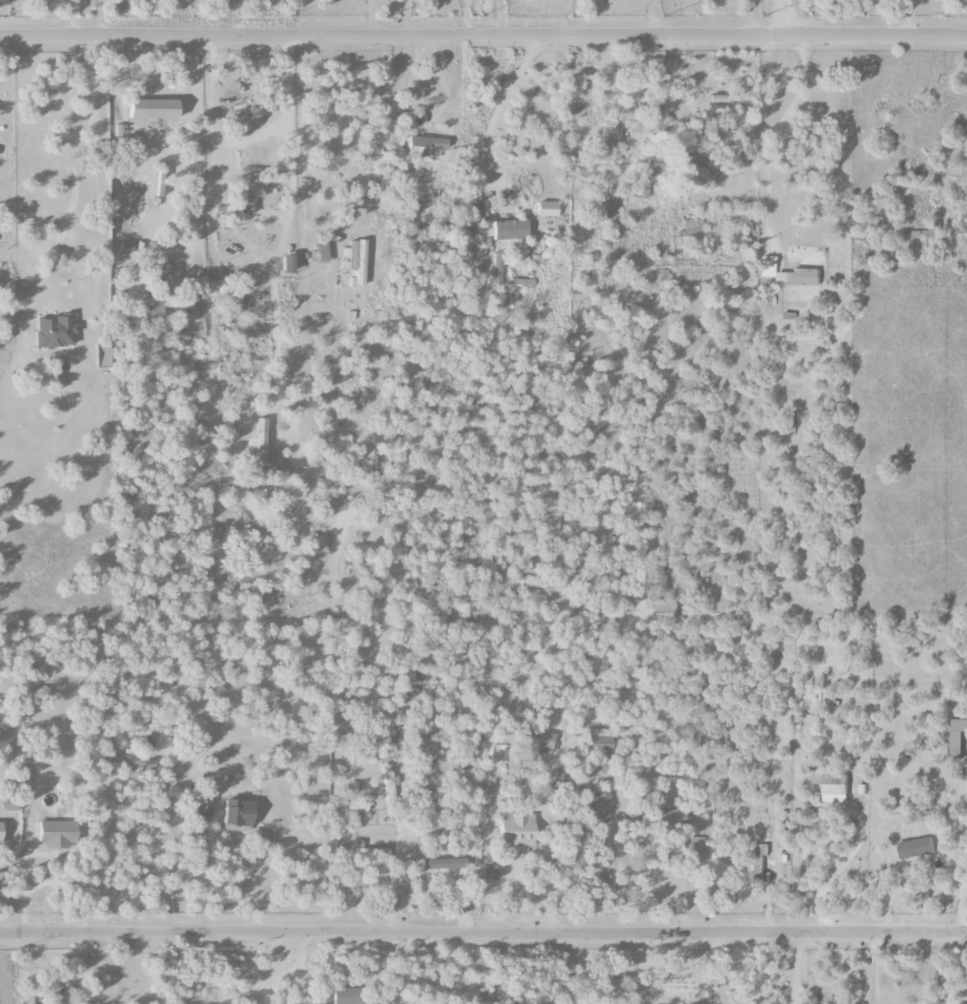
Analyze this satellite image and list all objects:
road: (96, 17)
road: (371, 17)
road: (403, 17)
road: (464, 17)
road: (491, 17)
road: (748, 17)
road: (786, 17)
road: (65, 18)
road: (483, 35)
road: (663, 87)
road: (500, 97)
building: (155, 110)
road: (770, 134)
road: (192, 136)
building: (426, 146)
road: (1, 154)
road: (78, 160)
building: (677, 166)
building: (547, 209)
road: (284, 211)
building: (691, 228)
building: (510, 230)
building: (126, 248)
building: (319, 254)
building: (354, 260)
building: (289, 265)
building: (496, 268)
building: (790, 275)
building: (161, 304)
building: (789, 321)
building: (55, 332)
building: (261, 442)
building: (167, 720)
building: (147, 733)
building: (535, 735)
building: (956, 737)
building: (598, 741)
building: (131, 762)
building: (966, 774)
building: (832, 784)
building: (353, 786)
building: (389, 788)
road: (100, 789)
building: (863, 789)
building: (601, 805)
building: (203, 807)
building: (357, 807)
building: (239, 812)
road: (824, 813)
building: (664, 816)
building: (517, 830)
building: (1, 833)
building: (571, 833)
building: (58, 834)
building: (695, 844)
building: (917, 848)
building: (764, 849)
building: (372, 852)
building: (490, 873)
road: (961, 873)
road: (398, 878)
road: (682, 884)
road: (483, 930)
road: (471, 941)
road: (426, 960)
road: (871, 965)
road: (267, 966)
road: (634, 966)
road: (796, 966)
road: (946, 966)
road: (471, 978)
building: (347, 995)
road: (956, 998)

